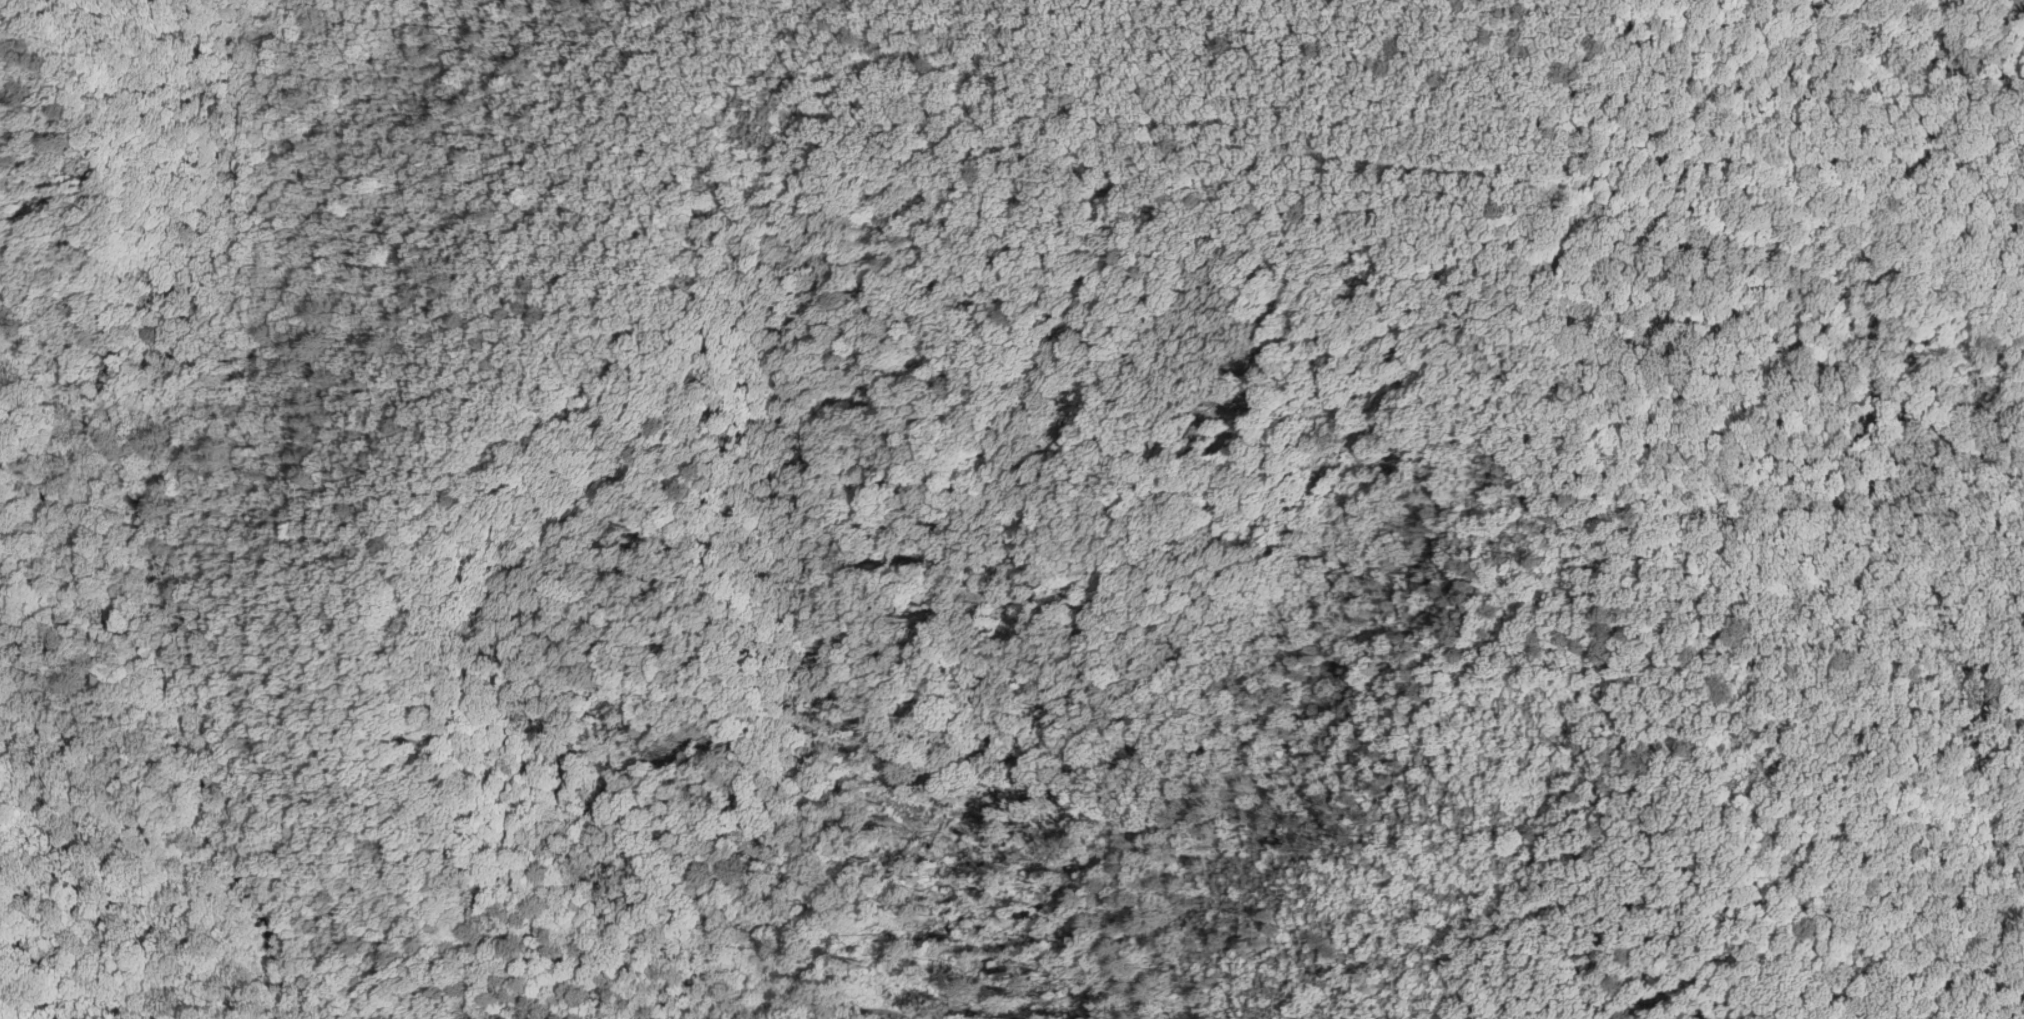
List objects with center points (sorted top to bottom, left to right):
road: (1626, 692)

